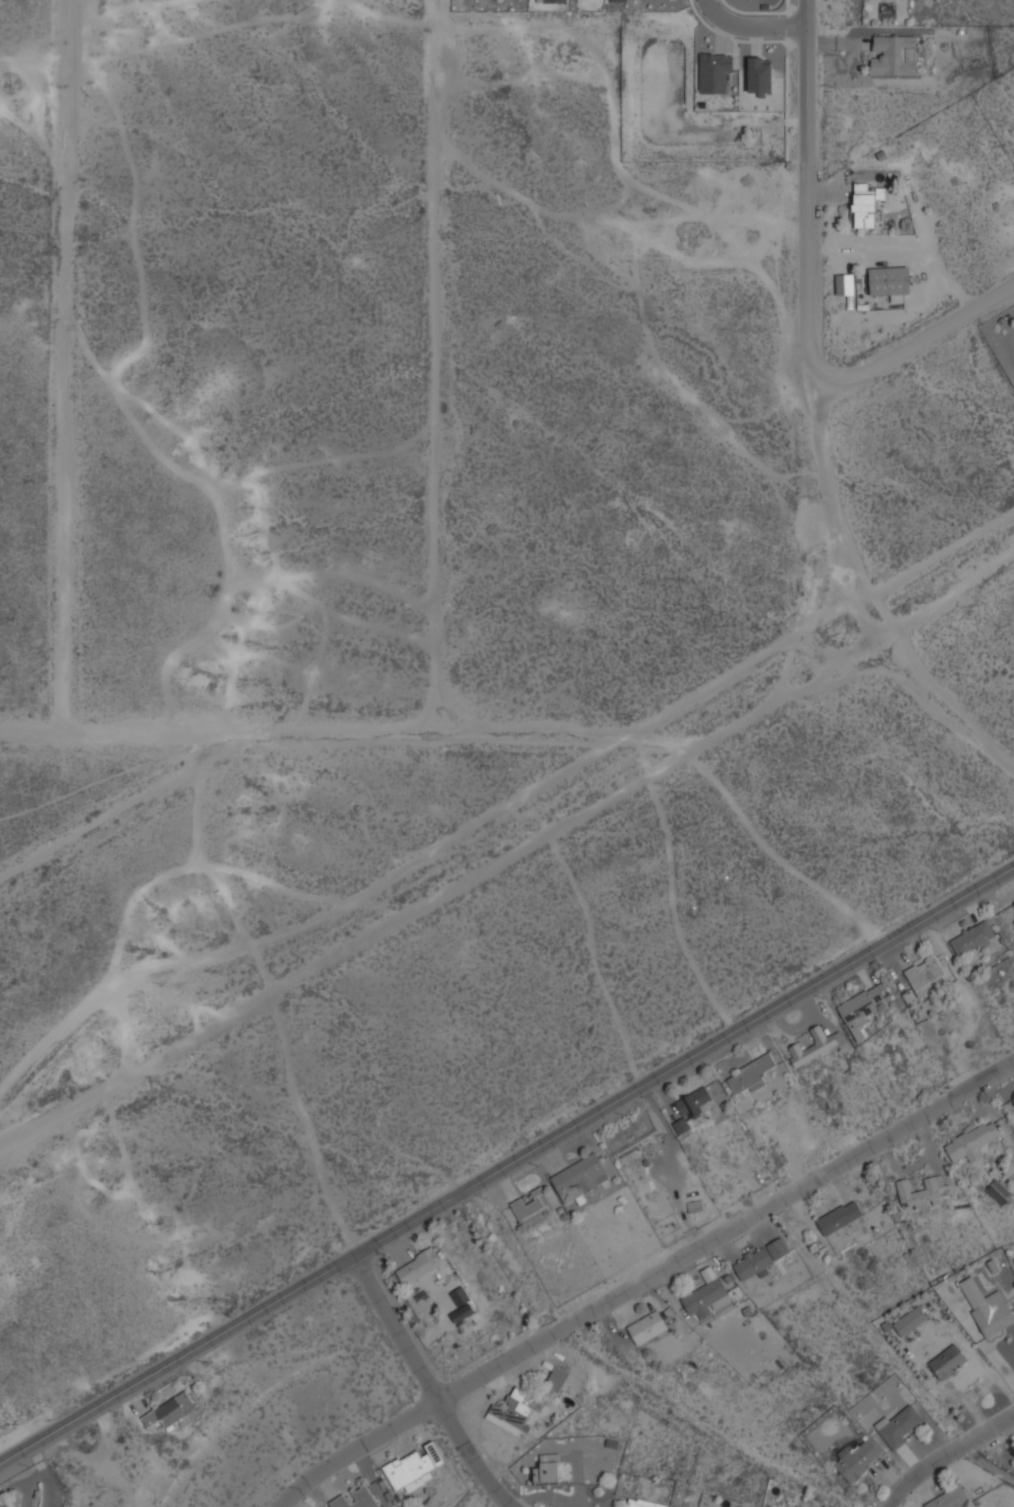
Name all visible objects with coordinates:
building: (495, 0)
building: (554, 0)
building: (619, 0)
road: (751, 26)
building: (894, 54)
building: (714, 70)
building: (760, 75)
building: (867, 204)
building: (890, 280)
road: (810, 332)
road: (914, 339)
road: (64, 365)
road: (434, 365)
road: (344, 731)
road: (126, 804)
road: (505, 856)
building: (1013, 902)
building: (1013, 920)
building: (973, 938)
building: (925, 974)
building: (863, 1007)
building: (816, 1044)
building: (751, 1074)
building: (695, 1101)
road: (316, 1122)
building: (681, 1125)
building: (972, 1141)
road: (506, 1165)
building: (580, 1177)
building: (999, 1190)
building: (921, 1193)
building: (695, 1205)
building: (533, 1208)
building: (840, 1216)
building: (762, 1258)
building: (419, 1265)
road: (645, 1277)
building: (707, 1294)
building: (460, 1296)
building: (987, 1306)
building: (462, 1312)
building: (910, 1320)
road: (396, 1327)
building: (648, 1327)
building: (948, 1357)
building: (556, 1379)
building: (171, 1411)
building: (512, 1411)
building: (901, 1425)
road: (470, 1456)
road: (947, 1456)
building: (858, 1458)
building: (413, 1467)
building: (550, 1468)
building: (949, 1498)
building: (356, 1499)
building: (644, 1503)

